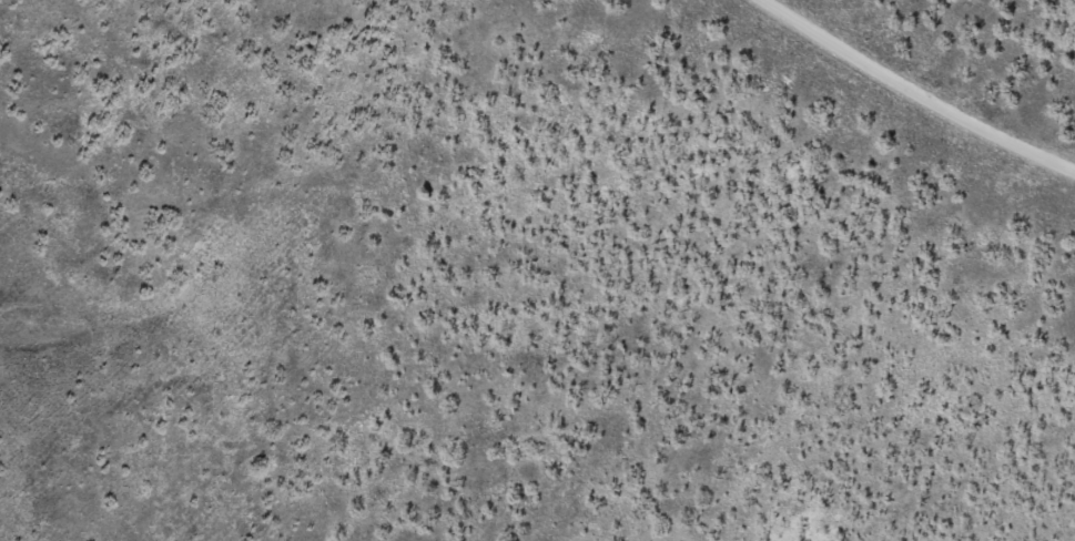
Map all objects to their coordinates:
road: (927, 80)

